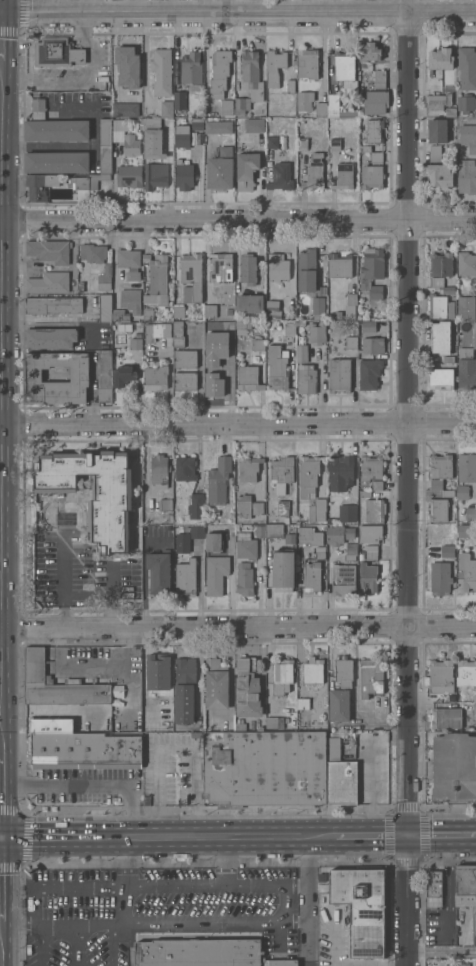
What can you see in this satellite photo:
road: (1, 6)
road: (0, 13)
traffic signals: (1, 13)
road: (238, 13)
road: (1, 22)
building: (57, 52)
building: (369, 52)
building: (440, 59)
building: (308, 63)
building: (127, 66)
building: (274, 66)
building: (191, 68)
building: (345, 68)
building: (467, 68)
building: (161, 71)
building: (219, 72)
building: (251, 75)
building: (379, 79)
building: (290, 86)
building: (179, 100)
building: (304, 100)
building: (437, 101)
building: (375, 102)
building: (466, 103)
building: (241, 105)
building: (226, 107)
building: (337, 107)
building: (38, 108)
building: (125, 109)
building: (166, 109)
building: (320, 109)
road: (94, 110)
building: (450, 111)
building: (197, 124)
building: (254, 125)
building: (218, 127)
building: (56, 130)
building: (374, 130)
building: (105, 131)
building: (437, 131)
building: (182, 136)
building: (127, 137)
building: (468, 137)
building: (152, 138)
building: (272, 142)
building: (301, 143)
building: (335, 144)
road: (44, 145)
building: (365, 148)
building: (436, 153)
building: (376, 157)
building: (105, 160)
building: (57, 162)
building: (220, 169)
building: (246, 170)
building: (314, 173)
building: (154, 175)
building: (184, 175)
building: (129, 176)
building: (280, 176)
building: (344, 176)
building: (440, 176)
building: (371, 177)
building: (467, 177)
building: (86, 184)
building: (39, 186)
road: (237, 219)
building: (49, 250)
building: (93, 252)
building: (129, 262)
building: (466, 264)
building: (339, 265)
building: (441, 265)
building: (220, 267)
building: (278, 267)
building: (248, 269)
building: (306, 270)
building: (372, 272)
building: (192, 274)
building: (104, 277)
building: (157, 279)
building: (436, 281)
building: (48, 282)
building: (448, 290)
building: (351, 298)
building: (130, 300)
building: (249, 303)
building: (53, 305)
building: (437, 306)
building: (104, 307)
building: (317, 307)
building: (466, 307)
building: (272, 310)
building: (179, 311)
building: (210, 311)
building: (229, 312)
building: (337, 314)
building: (119, 315)
building: (148, 315)
building: (242, 326)
building: (368, 326)
building: (219, 327)
building: (290, 329)
building: (156, 331)
building: (316, 333)
building: (179, 334)
building: (441, 337)
building: (51, 338)
building: (474, 340)
building: (351, 342)
building: (136, 343)
building: (258, 345)
building: (373, 345)
building: (229, 350)
building: (302, 353)
building: (186, 358)
building: (448, 359)
building: (277, 368)
building: (369, 374)
building: (467, 374)
building: (80, 375)
building: (123, 375)
building: (339, 375)
building: (104, 376)
building: (155, 378)
building: (216, 378)
building: (248, 378)
building: (441, 378)
building: (306, 379)
building: (186, 380)
road: (0, 392)
road: (238, 425)
building: (440, 466)
building: (184, 468)
building: (248, 468)
building: (371, 468)
building: (467, 468)
building: (159, 469)
building: (282, 470)
building: (340, 472)
building: (308, 476)
building: (218, 480)
road: (406, 483)
building: (436, 484)
building: (376, 485)
building: (94, 492)
building: (462, 492)
building: (364, 493)
building: (448, 493)
building: (165, 504)
building: (194, 506)
building: (248, 506)
building: (282, 508)
building: (374, 510)
building: (438, 510)
building: (317, 511)
building: (347, 513)
building: (470, 513)
building: (261, 530)
building: (274, 530)
building: (466, 530)
building: (369, 533)
building: (339, 535)
building: (309, 536)
building: (187, 537)
building: (289, 538)
building: (213, 541)
building: (246, 546)
building: (371, 547)
building: (350, 551)
building: (447, 551)
building: (320, 553)
building: (371, 555)
building: (177, 560)
building: (283, 570)
building: (159, 571)
building: (466, 573)
building: (215, 574)
building: (312, 576)
building: (368, 576)
building: (186, 578)
building: (440, 578)
building: (244, 579)
building: (343, 579)
road: (63, 582)
road: (104, 595)
road: (237, 629)
road: (109, 668)
building: (312, 670)
building: (343, 671)
building: (157, 672)
building: (441, 673)
building: (466, 673)
building: (282, 675)
building: (38, 676)
building: (371, 677)
building: (216, 685)
building: (247, 689)
building: (184, 690)
building: (436, 696)
building: (470, 698)
building: (302, 703)
building: (338, 705)
building: (474, 708)
building: (445, 718)
building: (274, 722)
building: (240, 725)
building: (195, 734)
building: (85, 750)
building: (454, 766)
building: (264, 768)
building: (340, 773)
road: (158, 777)
road: (89, 787)
road: (1, 797)
building: (146, 800)
road: (371, 836)
traffic signals: (408, 836)
road: (442, 836)
road: (214, 838)
road: (0, 839)
road: (48, 839)
traffic signals: (1, 840)
road: (127, 862)
road: (0, 880)
road: (293, 884)
road: (175, 885)
building: (466, 886)
road: (44, 888)
building: (433, 889)
road: (308, 901)
road: (126, 906)
building: (361, 908)
road: (272, 924)
road: (292, 924)
road: (61, 929)
road: (82, 929)
building: (474, 929)
road: (0, 943)
road: (117, 946)
road: (441, 951)
building: (204, 953)

